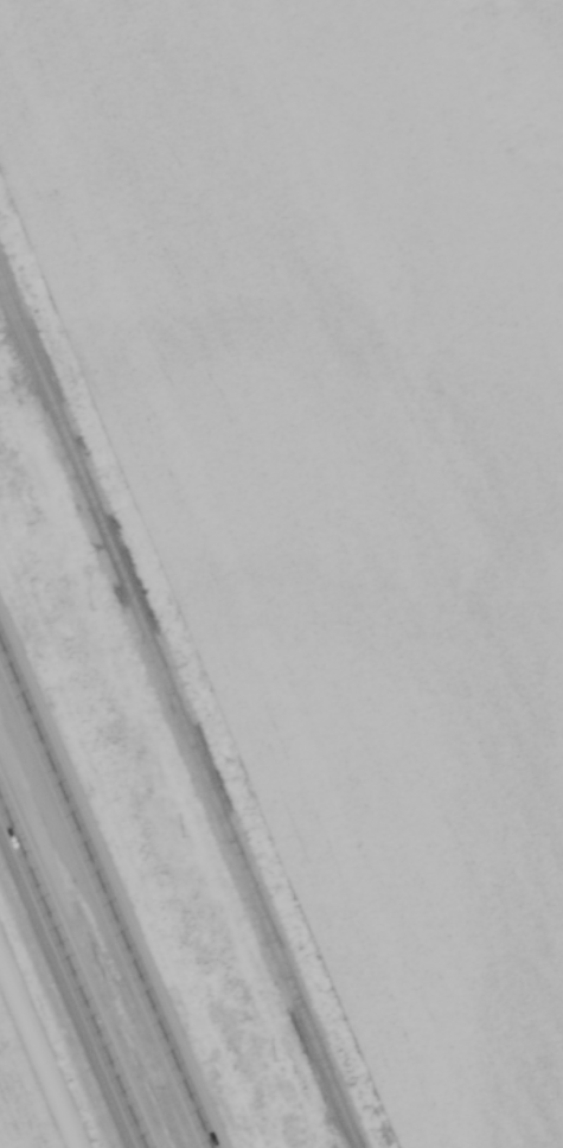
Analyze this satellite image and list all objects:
railway: (179, 708)
road: (105, 894)
road: (71, 976)
road: (41, 1047)

